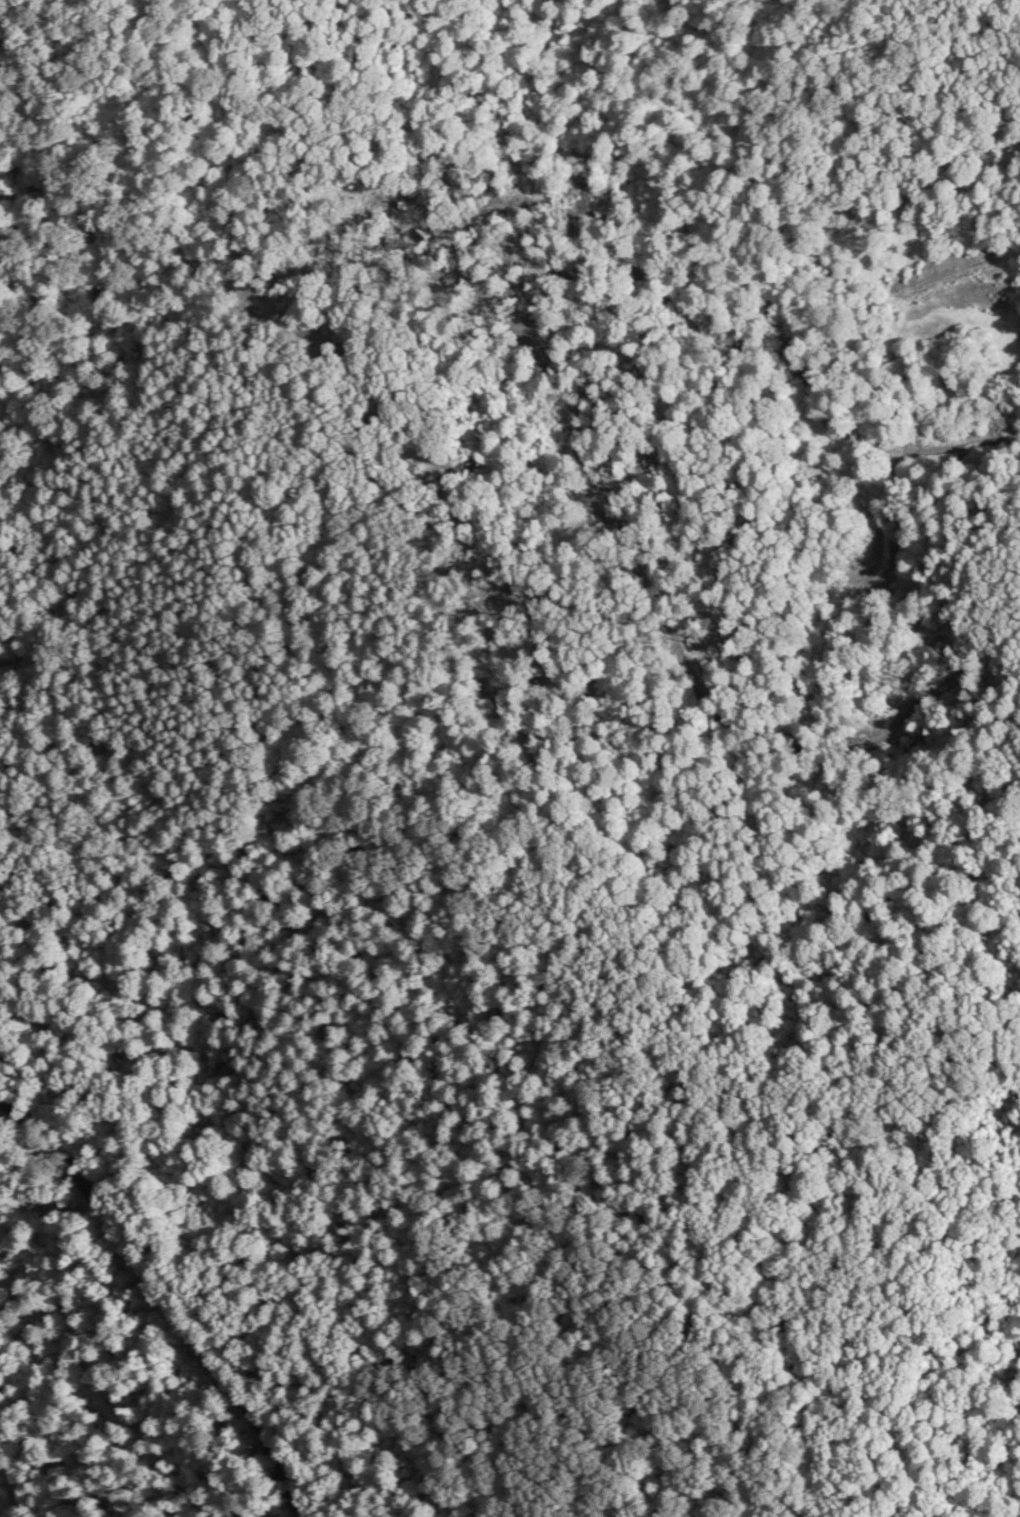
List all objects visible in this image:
road: (164, 1302)
road: (1006, 1499)

